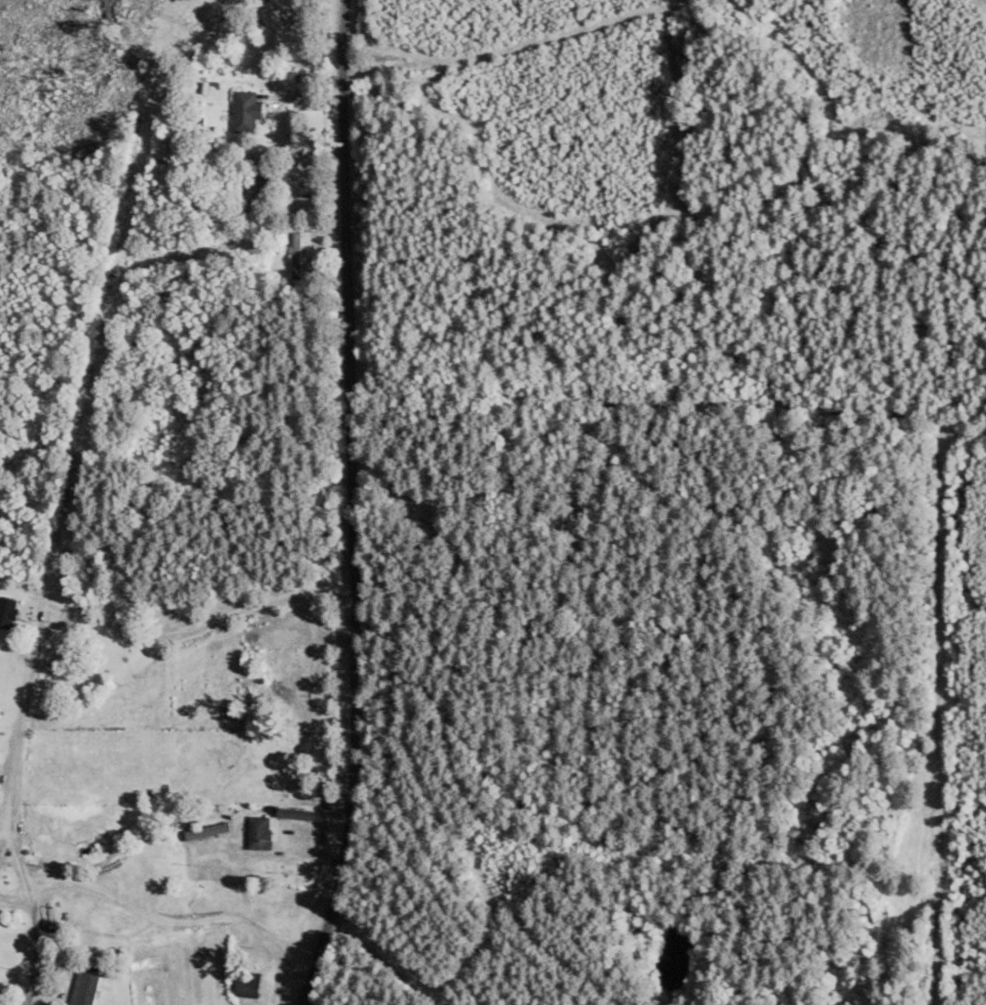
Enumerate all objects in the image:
building: (275, 27)
building: (246, 111)
building: (264, 192)
road: (356, 504)
building: (7, 611)
building: (289, 665)
building: (277, 691)
building: (205, 830)
building: (258, 832)
road: (177, 883)
building: (248, 984)

